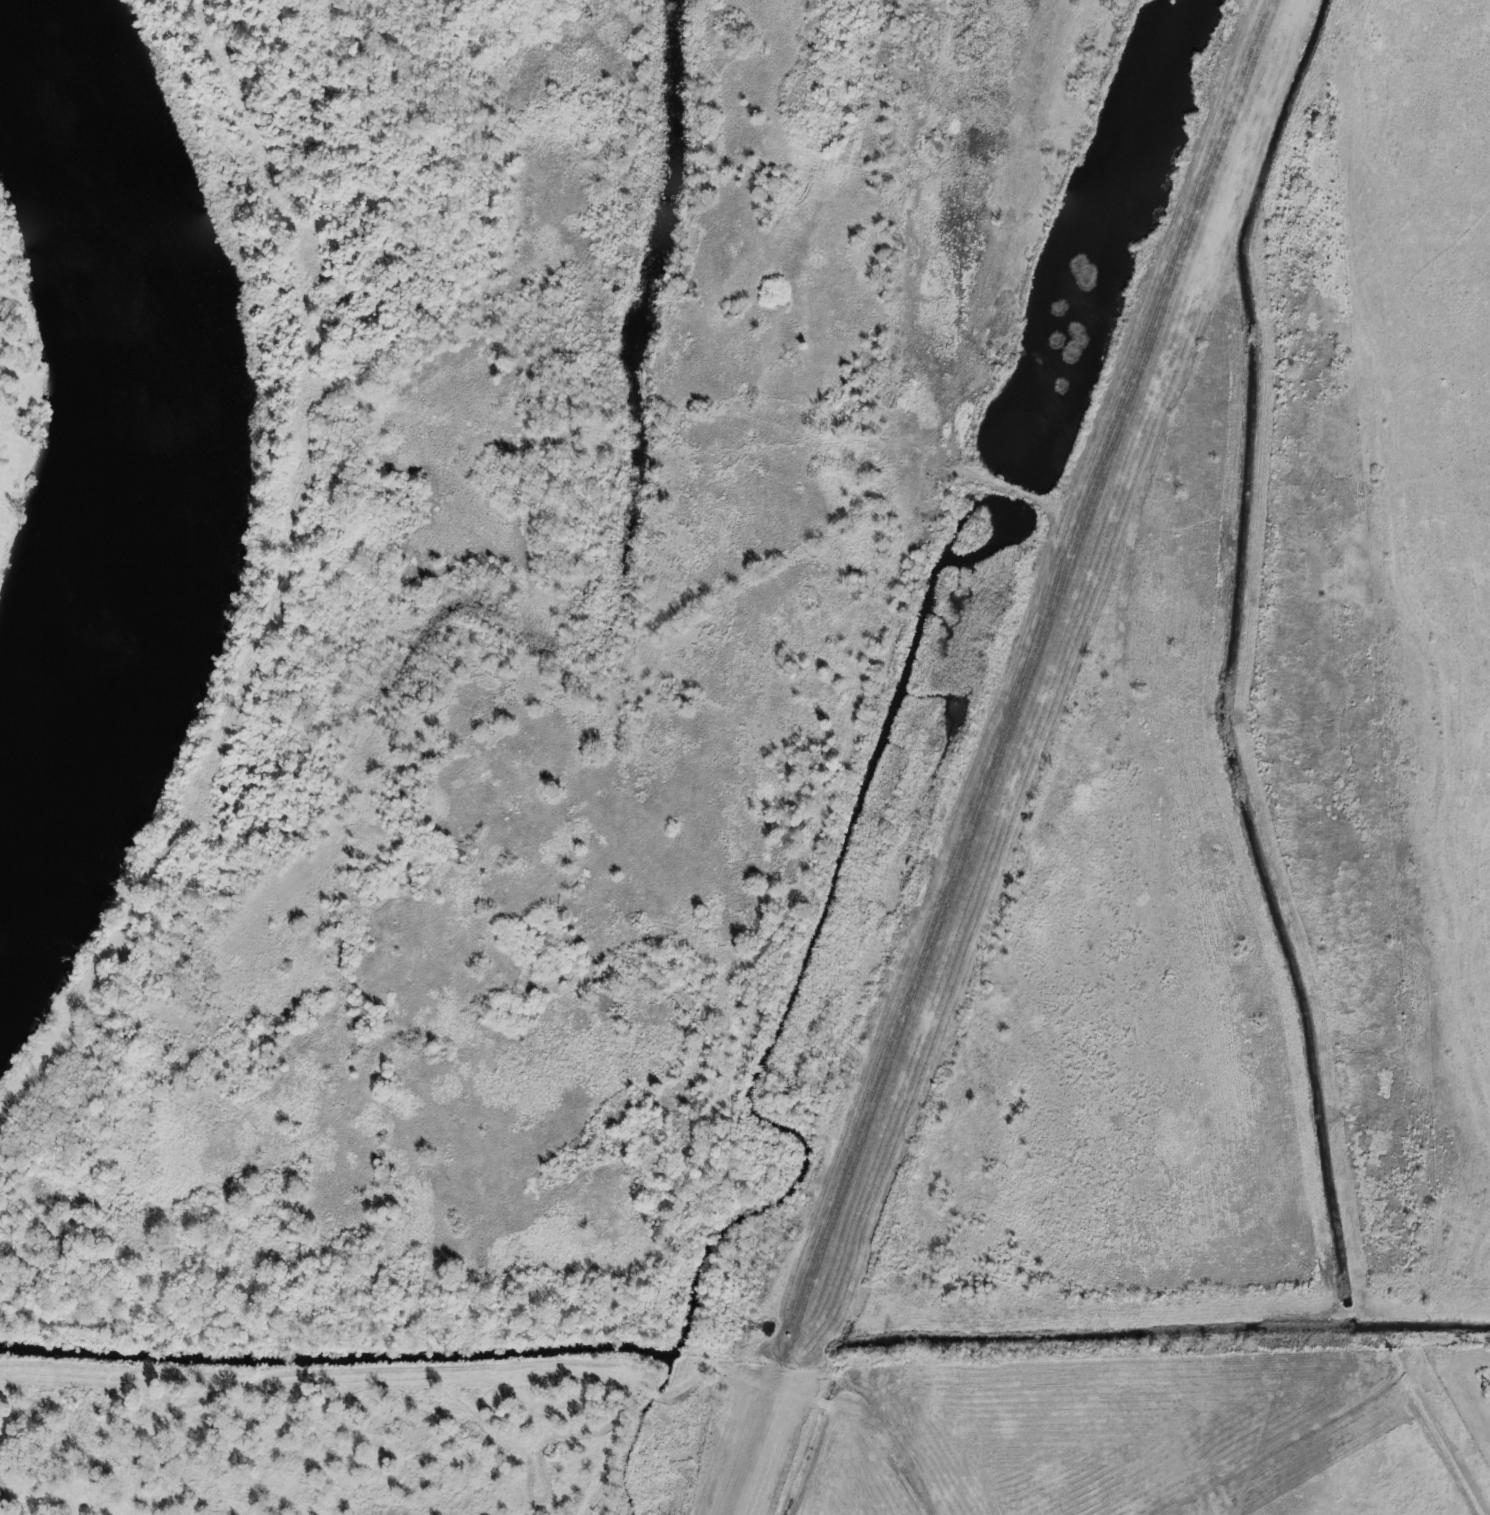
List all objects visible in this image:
river: (155, 462)
road: (1010, 757)

